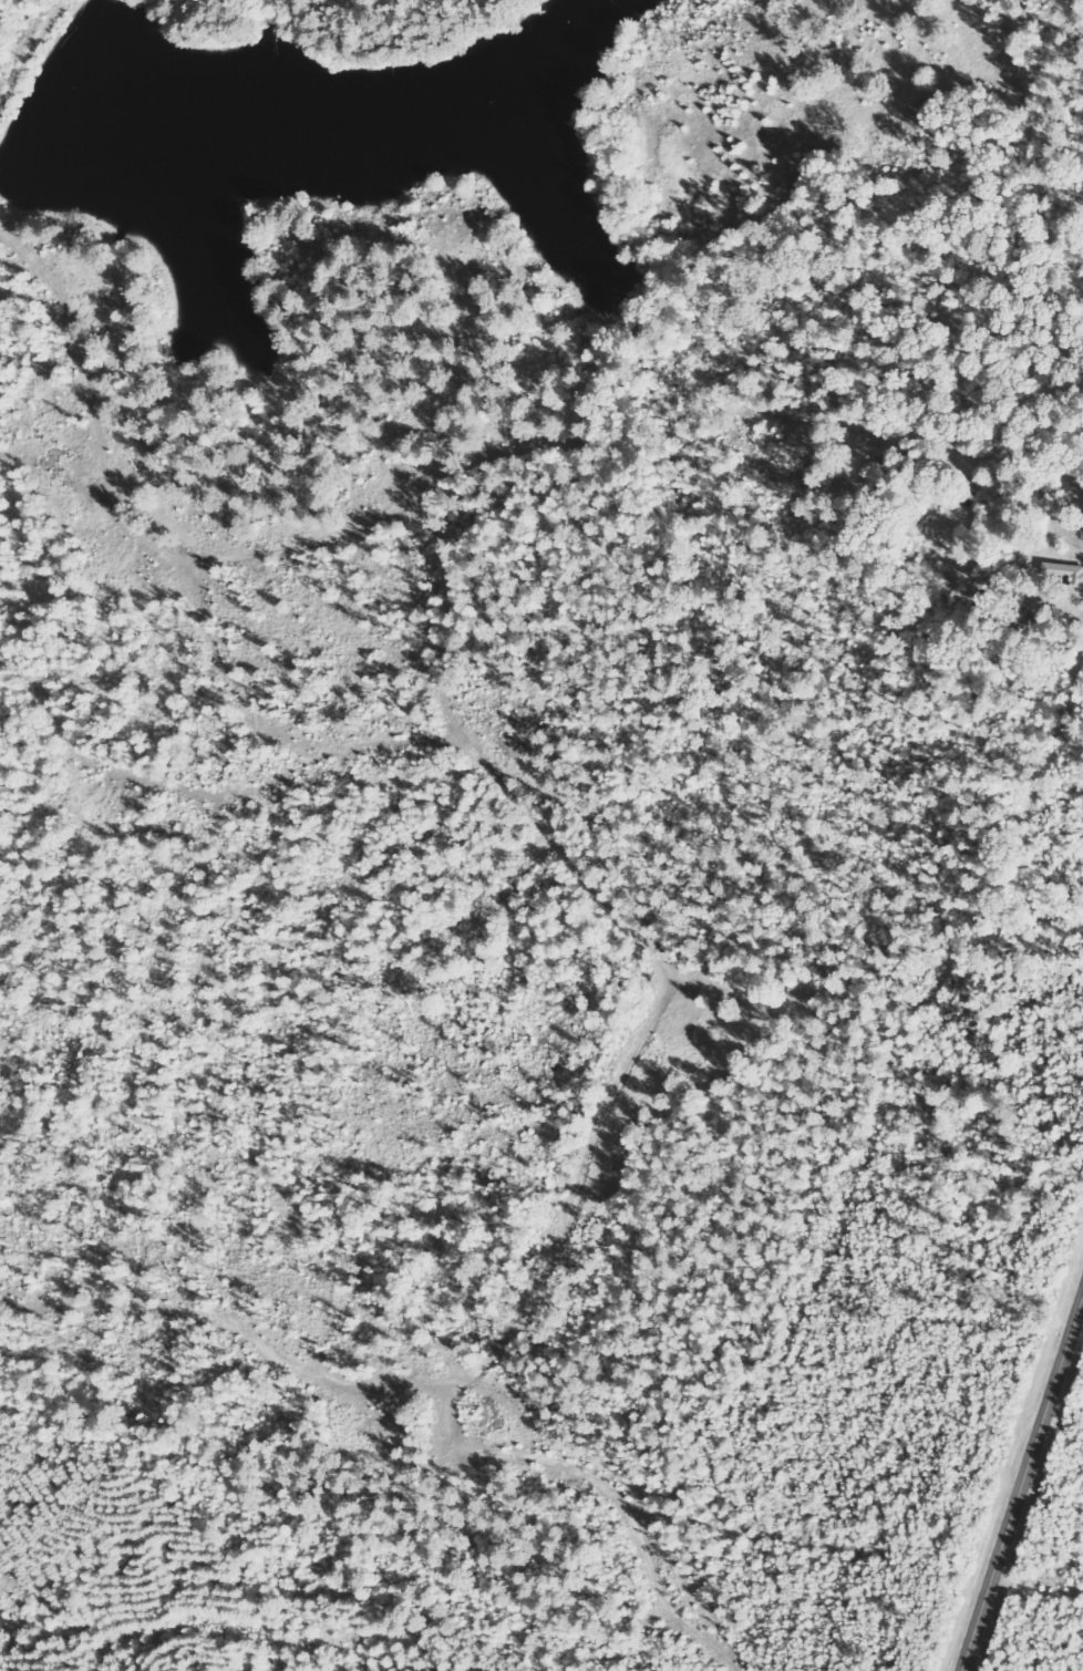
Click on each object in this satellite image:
building: (1071, 575)
road: (1023, 1485)

